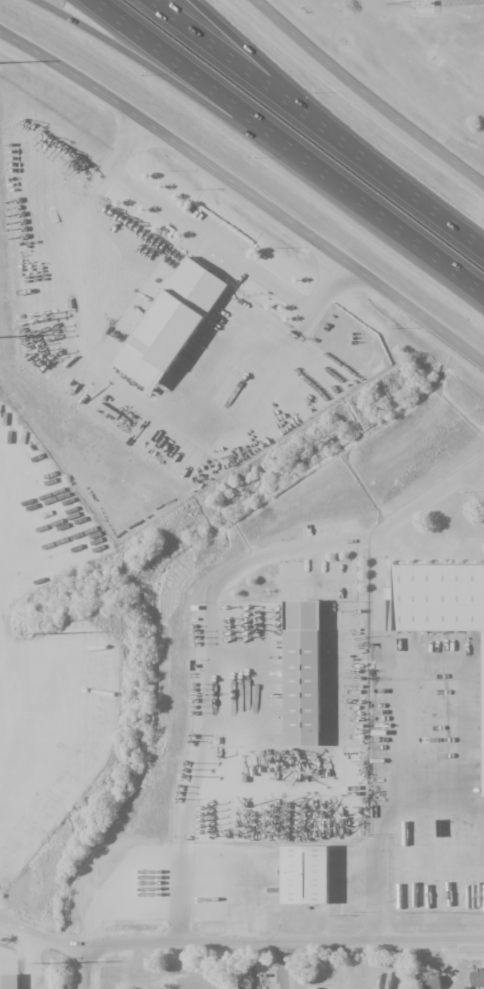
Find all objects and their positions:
road: (140, 54)
road: (258, 62)
road: (370, 91)
road: (319, 120)
road: (289, 150)
road: (243, 197)
building: (167, 346)
building: (444, 603)
power tower: (40, 635)
building: (308, 680)
building: (312, 877)
road: (41, 937)
road: (281, 941)
power tower: (46, 964)
road: (82, 972)
building: (477, 978)
building: (244, 979)
building: (9, 981)
building: (431, 982)

